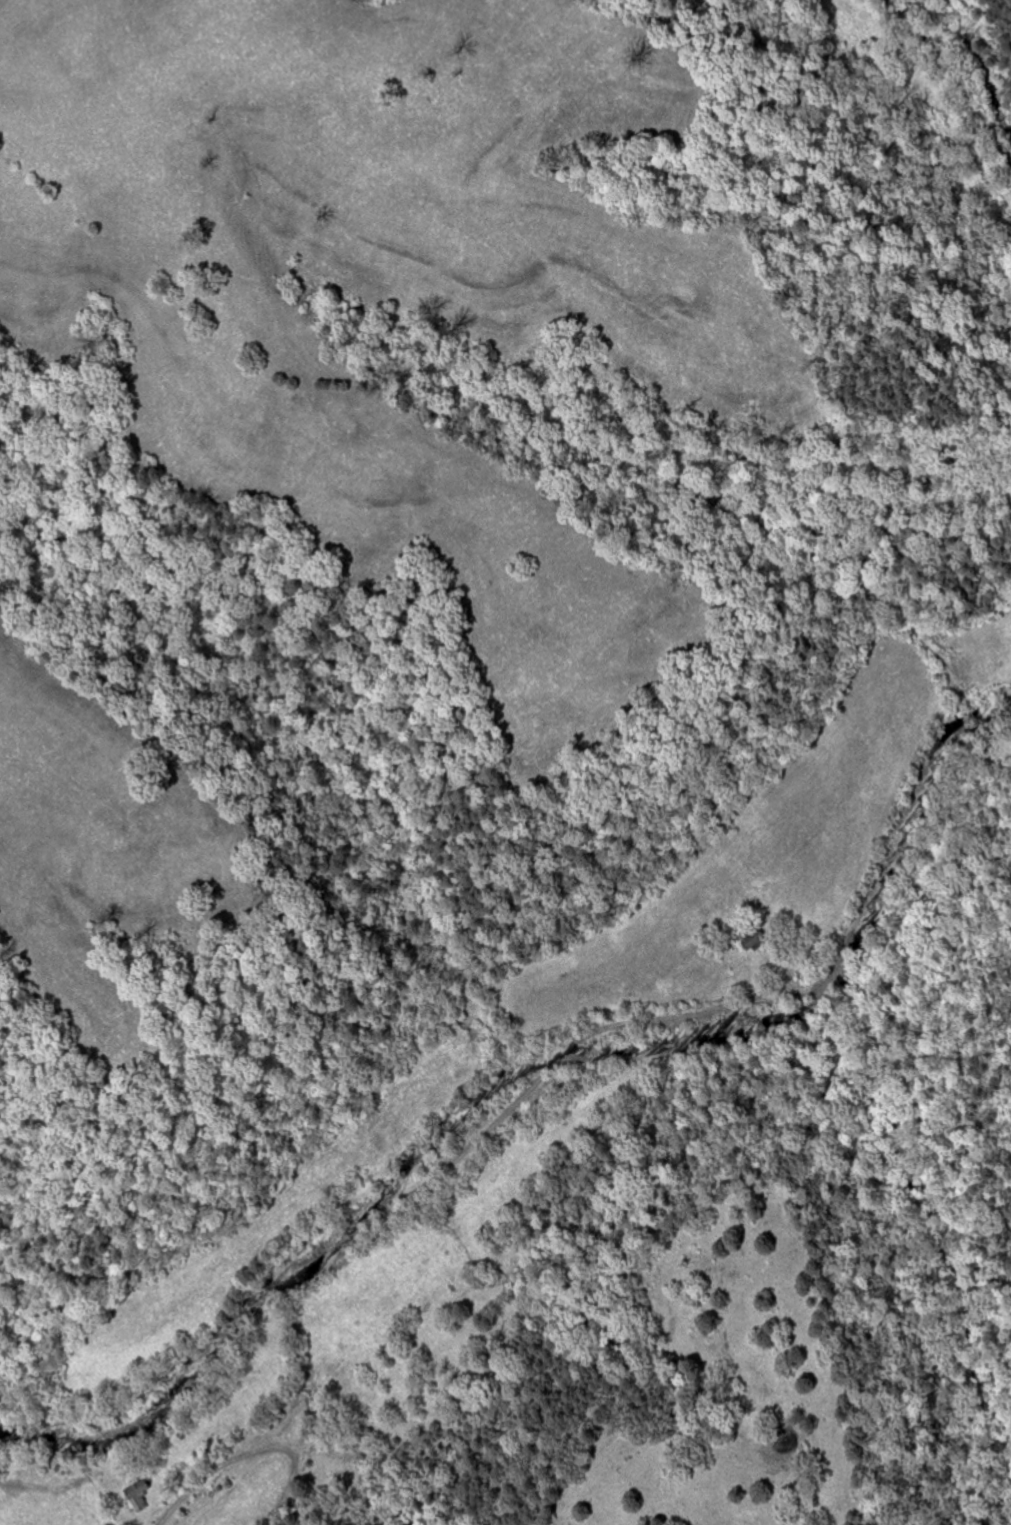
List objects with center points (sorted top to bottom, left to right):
road: (921, 81)
building: (754, 936)
road: (673, 1017)
road: (157, 1377)
building: (138, 1497)

